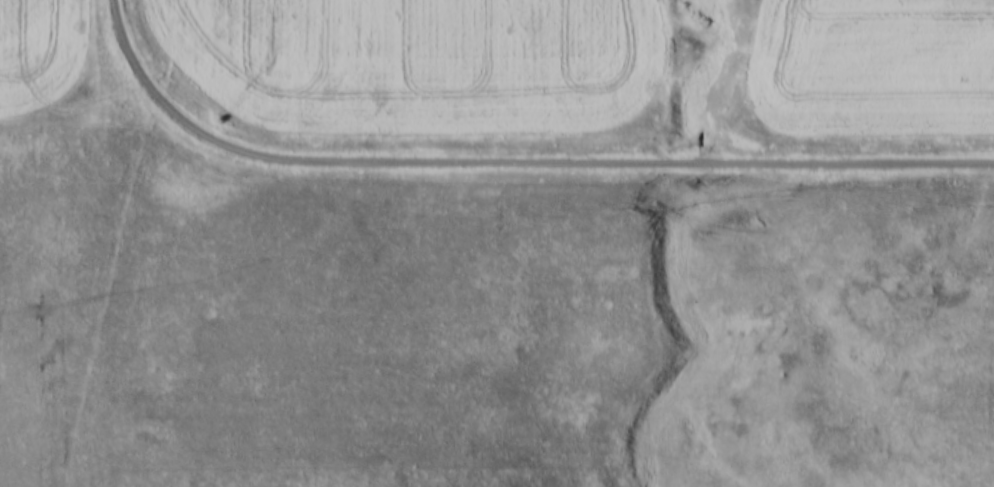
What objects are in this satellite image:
crop: (39, 56)
crop: (421, 63)
crop: (873, 68)
road: (515, 156)

